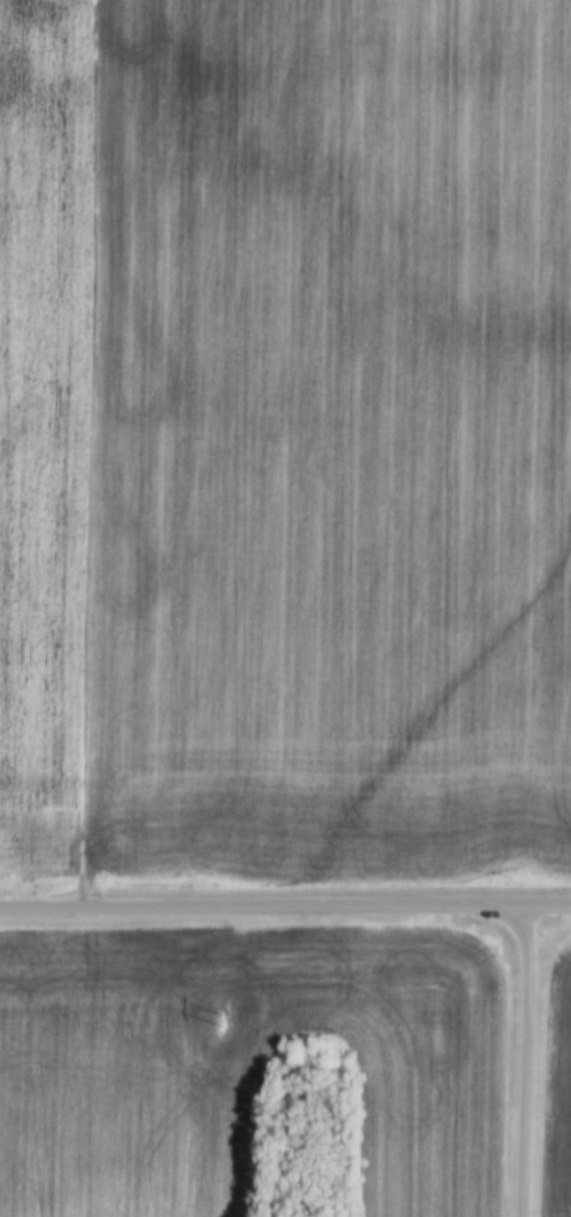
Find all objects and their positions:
road: (285, 912)
power tower: (220, 1021)
road: (530, 1064)

